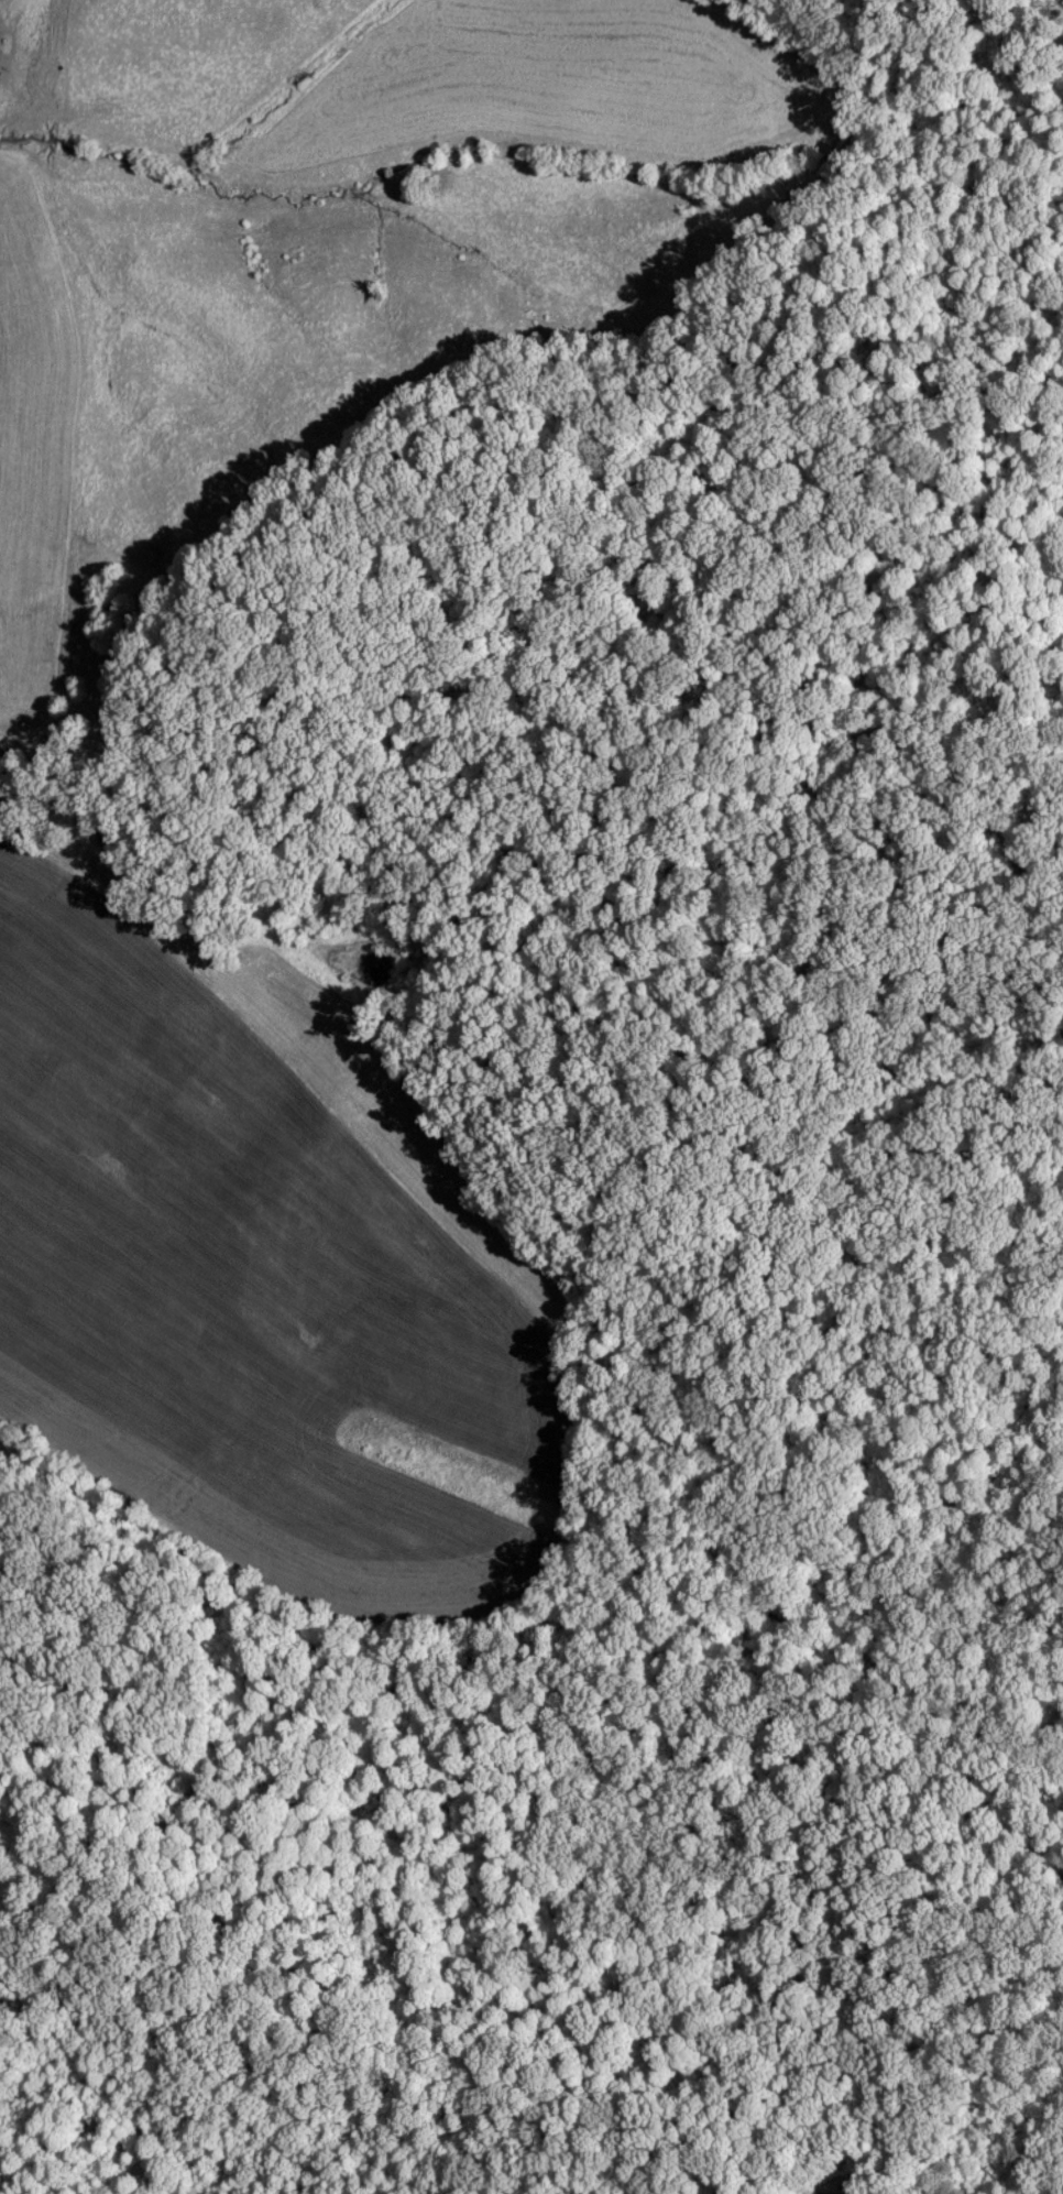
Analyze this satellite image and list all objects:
building: (847, 2180)
building: (829, 2192)

